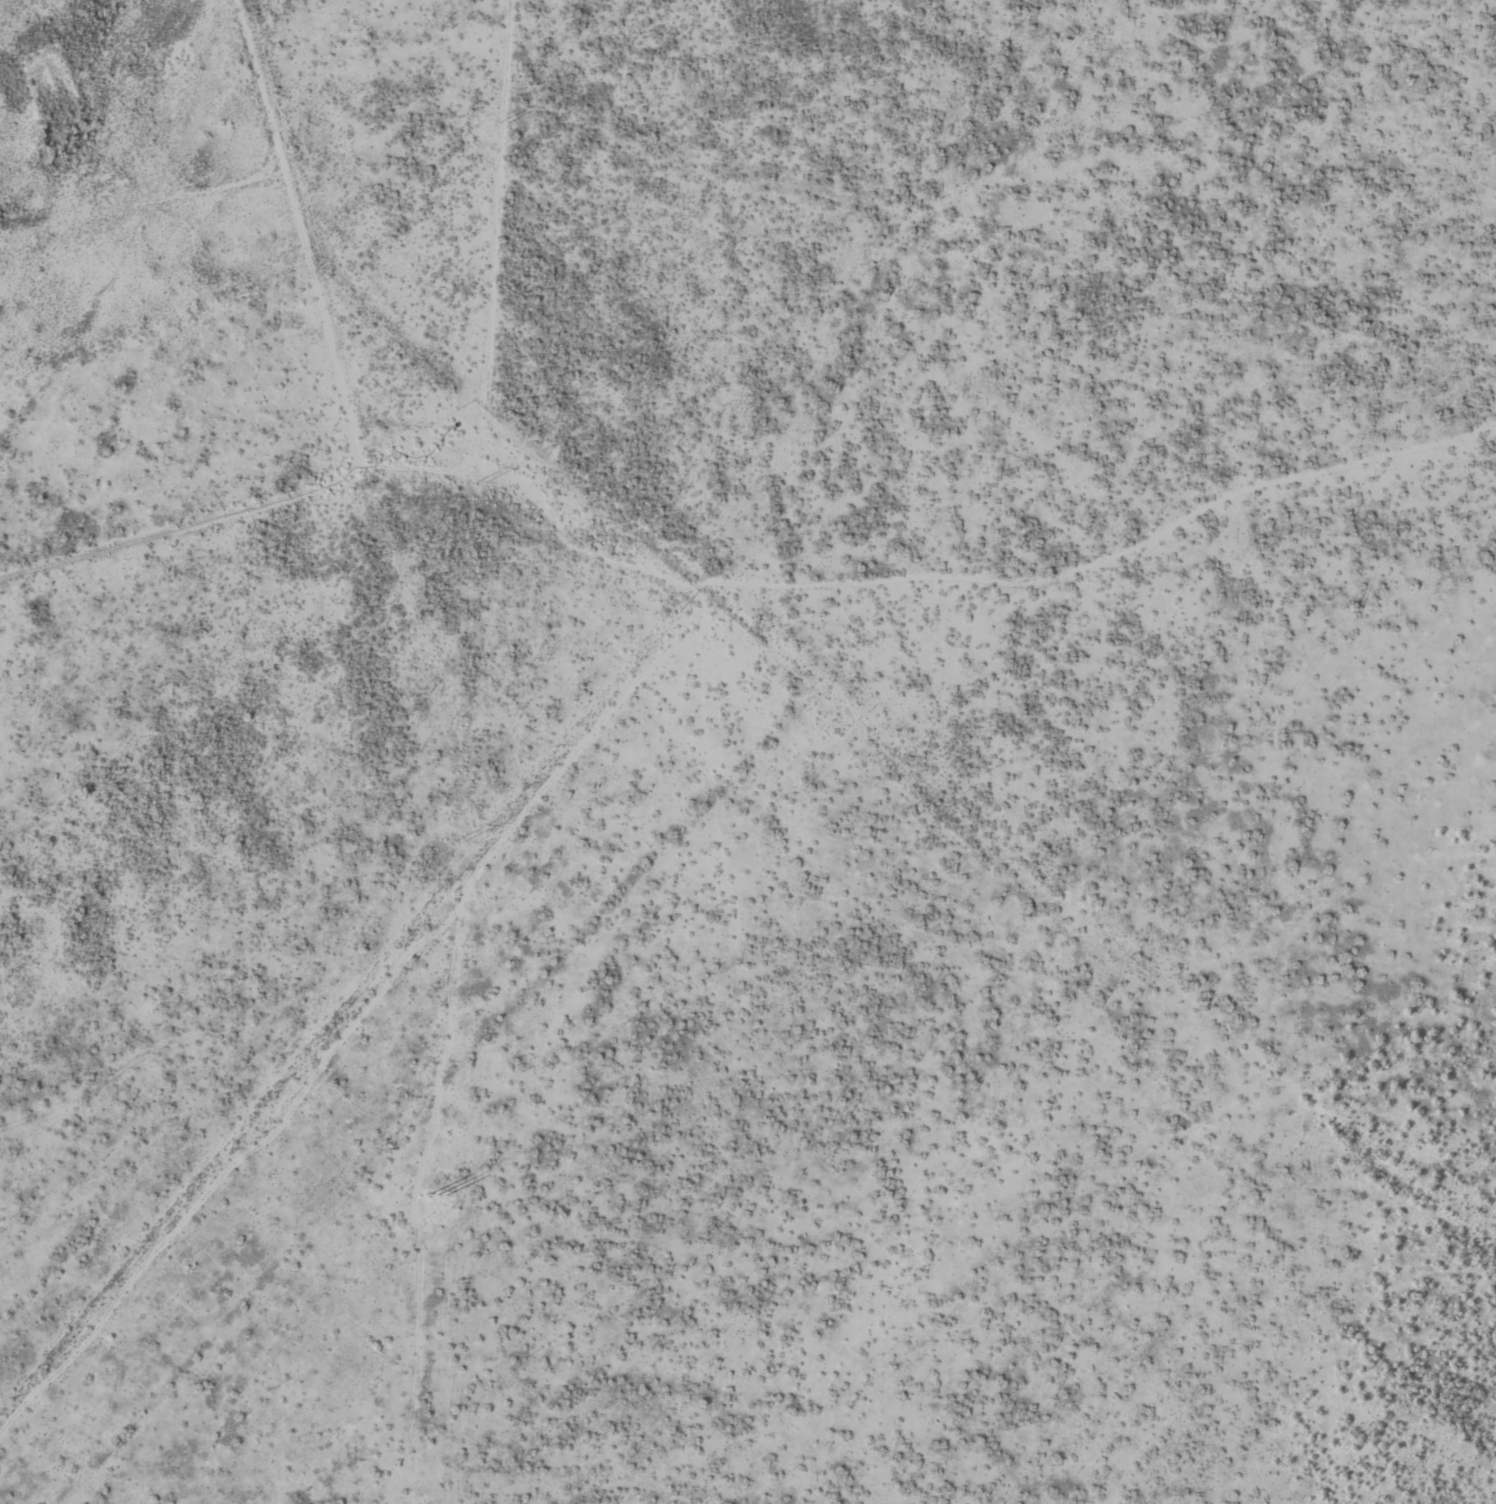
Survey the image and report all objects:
power tower: (502, 124)
power tower: (480, 483)
power tower: (459, 843)
power tower: (438, 1196)

